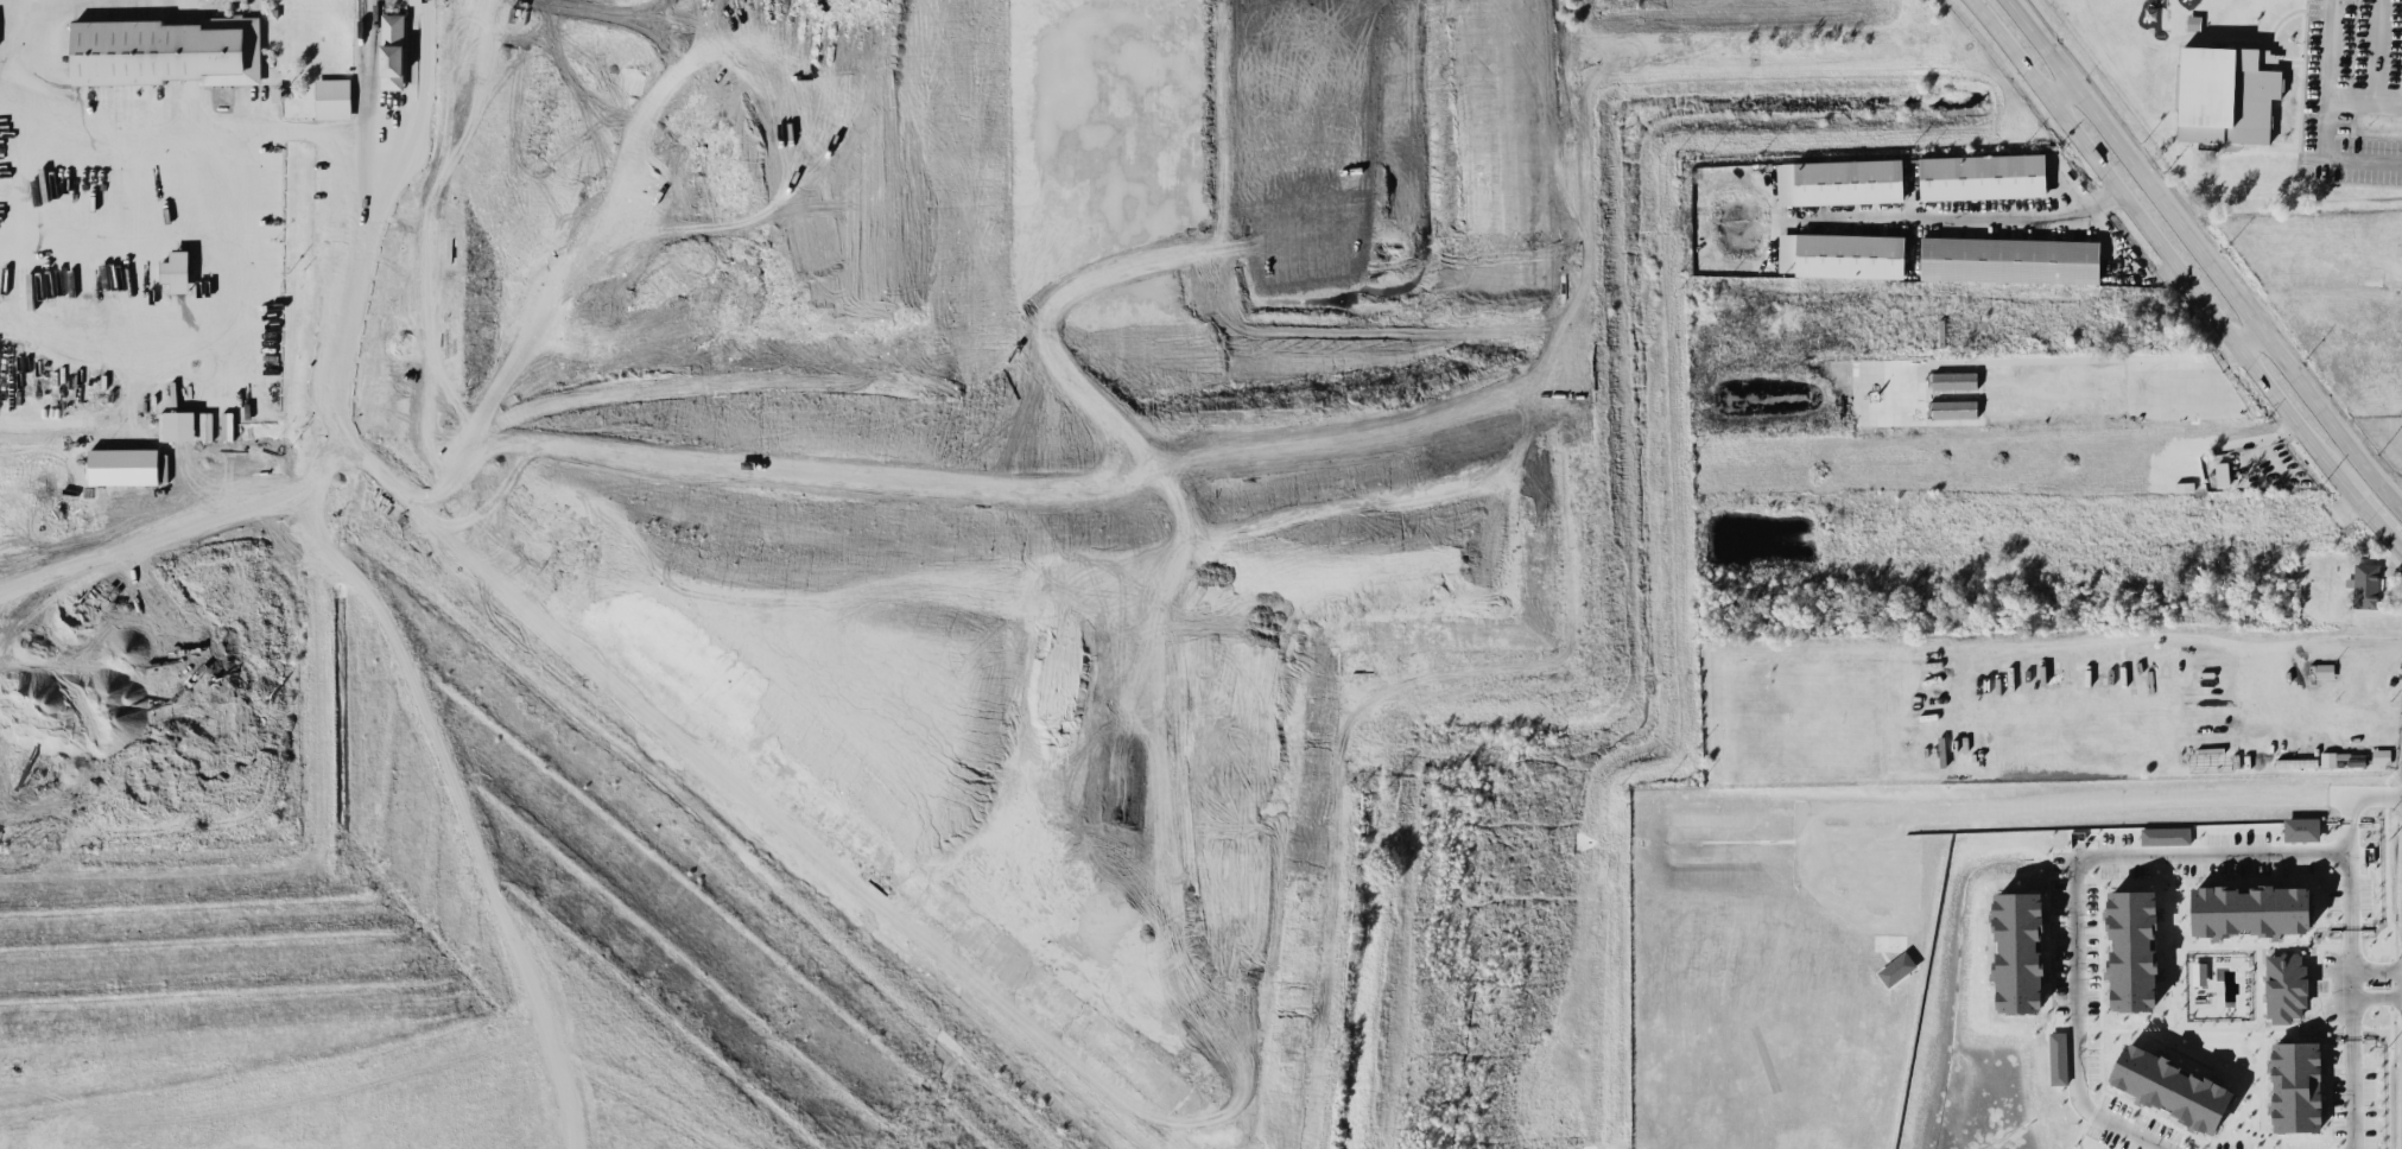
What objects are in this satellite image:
road: (34, 0)
building: (167, 50)
building: (392, 50)
road: (2379, 51)
road: (2328, 87)
road: (14, 90)
road: (2059, 90)
building: (2226, 94)
building: (334, 97)
road: (115, 134)
road: (2330, 161)
building: (1983, 176)
building: (1840, 180)
road: (222, 182)
road: (378, 196)
road: (1953, 214)
road: (2108, 237)
road: (223, 246)
road: (2161, 250)
road: (2204, 253)
building: (1842, 254)
building: (2010, 259)
road: (883, 261)
building: (177, 271)
road: (2151, 277)
road: (2251, 339)
road: (2056, 358)
building: (1954, 380)
building: (1954, 408)
building: (177, 425)
building: (123, 465)
road: (321, 508)
road: (2378, 522)
landfill: (866, 572)
building: (2365, 585)
road: (2136, 636)
road: (577, 648)
road: (2300, 650)
road: (849, 665)
building: (2324, 669)
road: (2372, 717)
building: (2328, 757)
building: (2298, 762)
road: (2111, 806)
road: (2349, 824)
road: (471, 827)
building: (2301, 829)
building: (2166, 834)
road: (2181, 851)
building: (2250, 909)
building: (2132, 948)
building: (2018, 950)
building: (2199, 972)
road: (2350, 980)
road: (2400, 982)
building: (2286, 986)
building: (2058, 1058)
building: (2296, 1085)
building: (2170, 1086)

